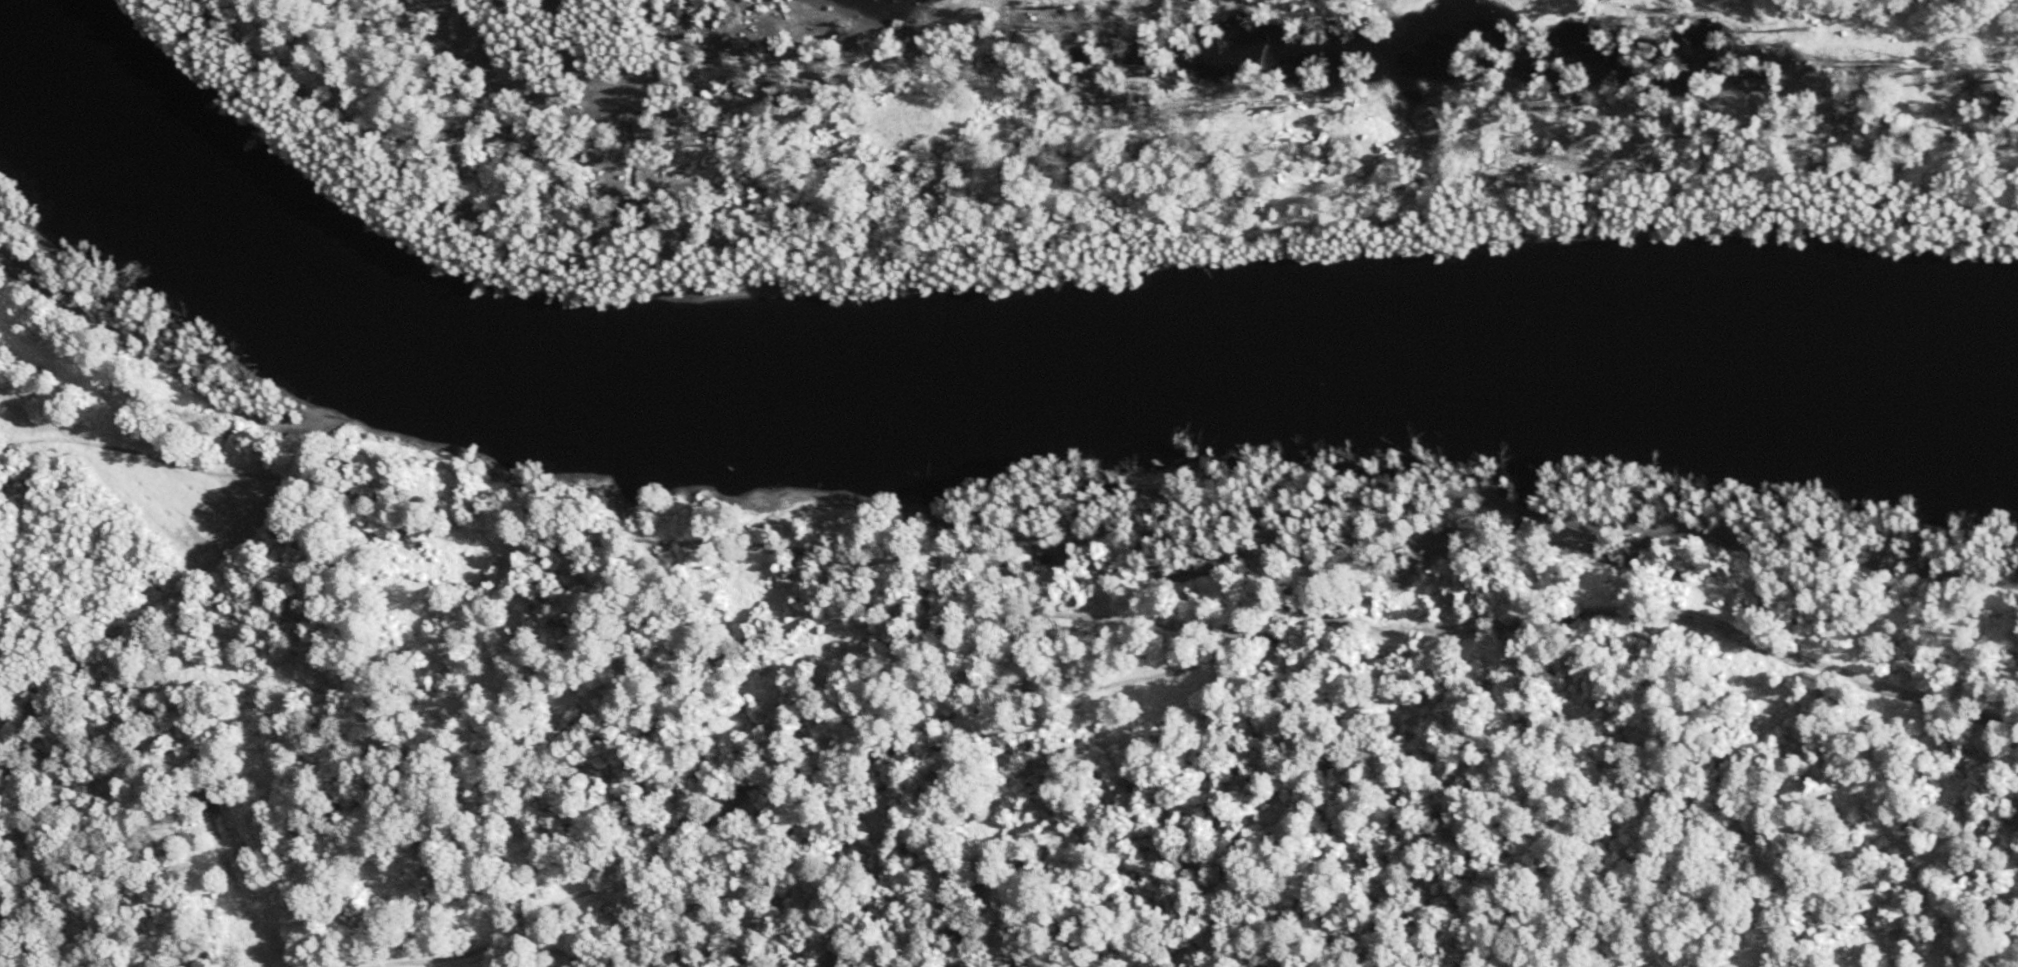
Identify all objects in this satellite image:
road: (1079, 21)
river: (975, 374)
road: (6, 458)

